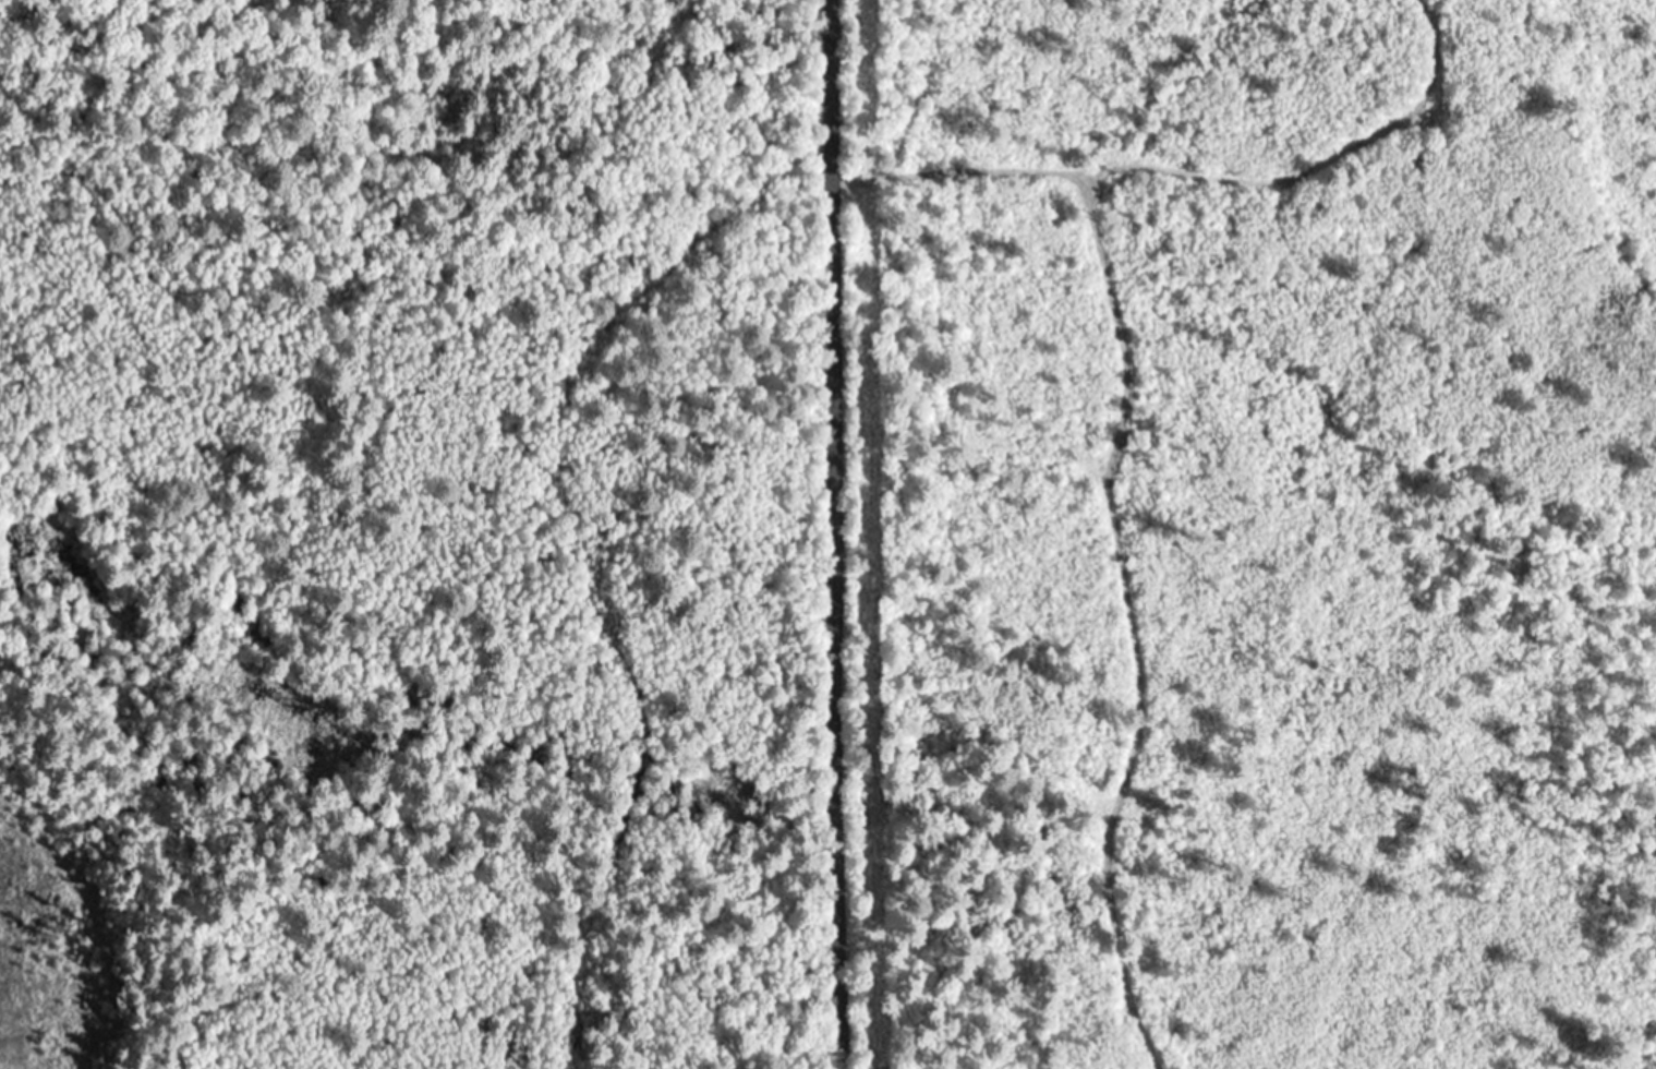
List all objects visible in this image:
road: (830, 534)

